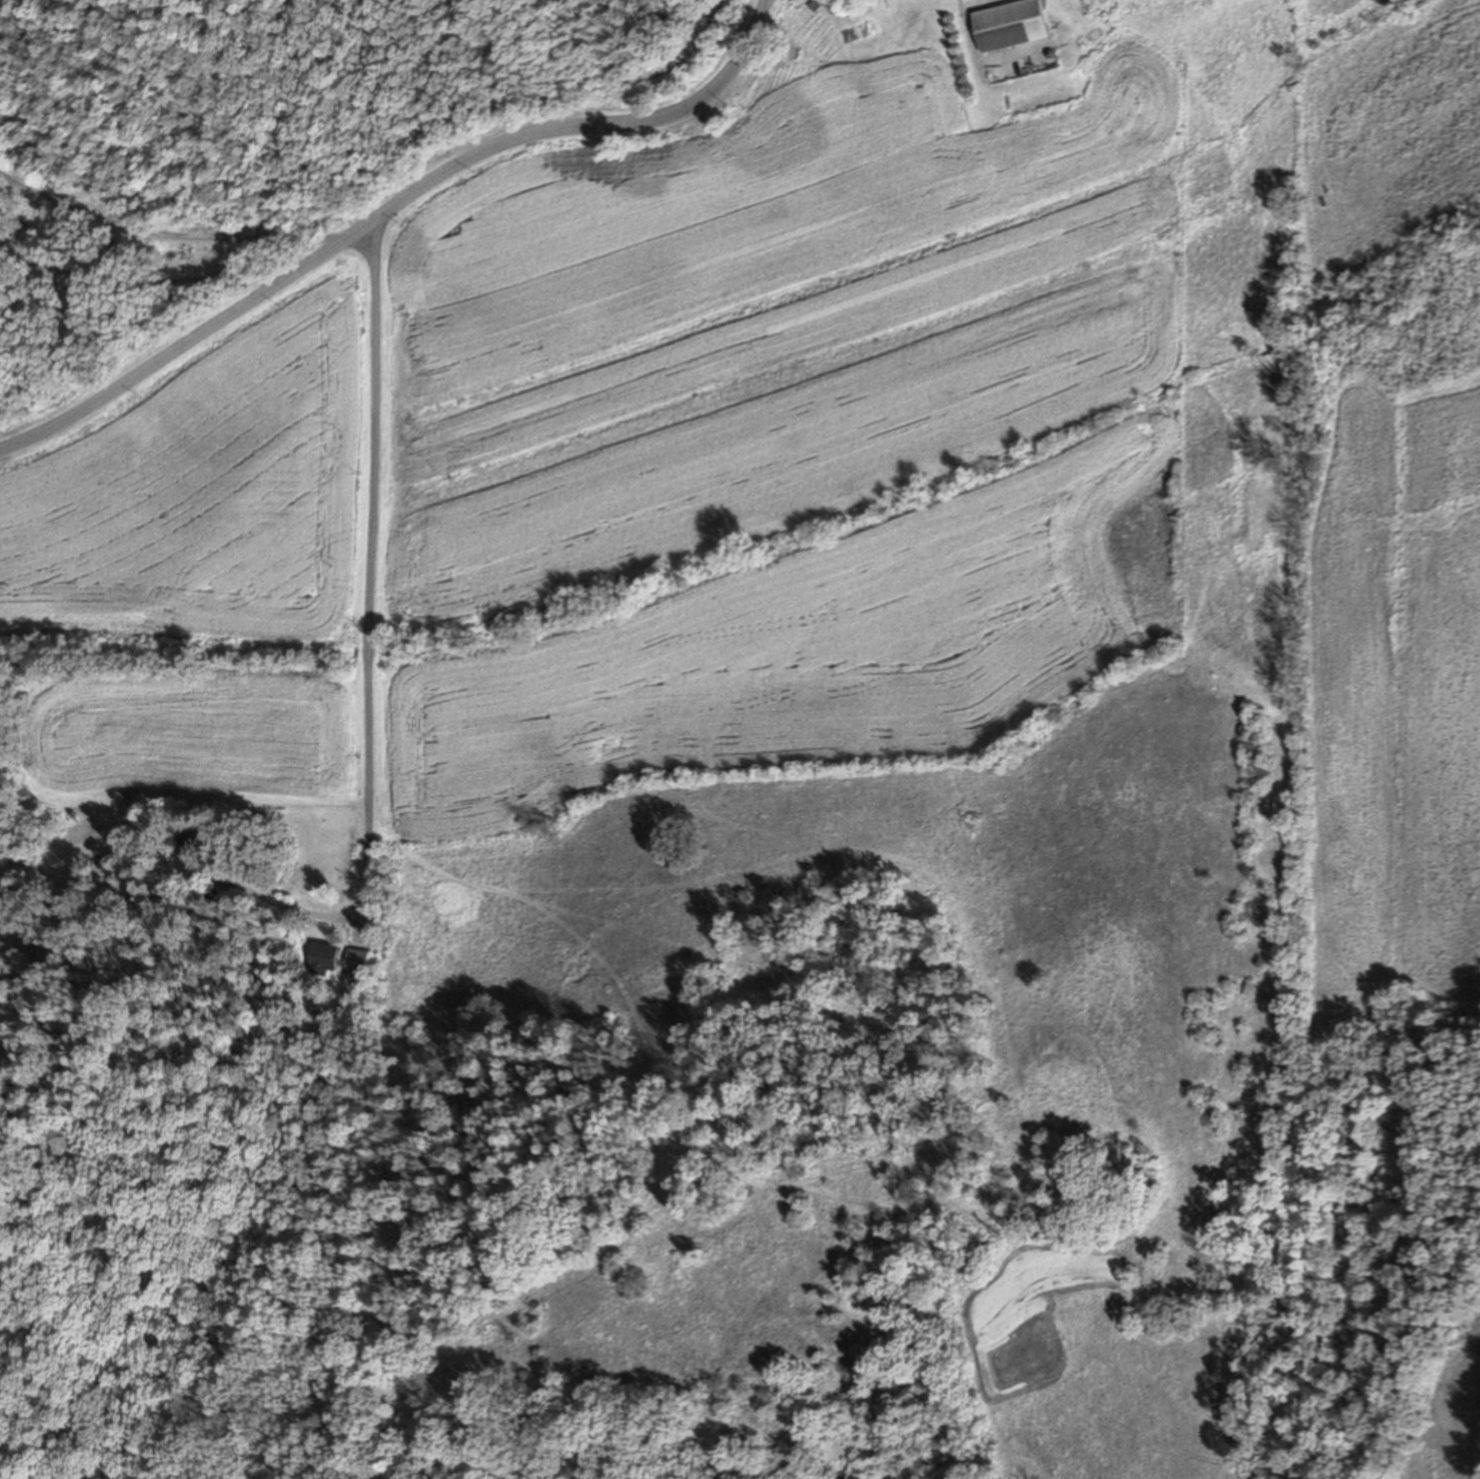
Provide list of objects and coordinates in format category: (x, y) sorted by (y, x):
building: (1012, 23)
road: (390, 209)
road: (165, 234)
building: (108, 243)
road: (372, 570)
building: (191, 846)
building: (216, 862)
building: (213, 892)
road: (284, 902)
building: (321, 956)
building: (355, 960)

